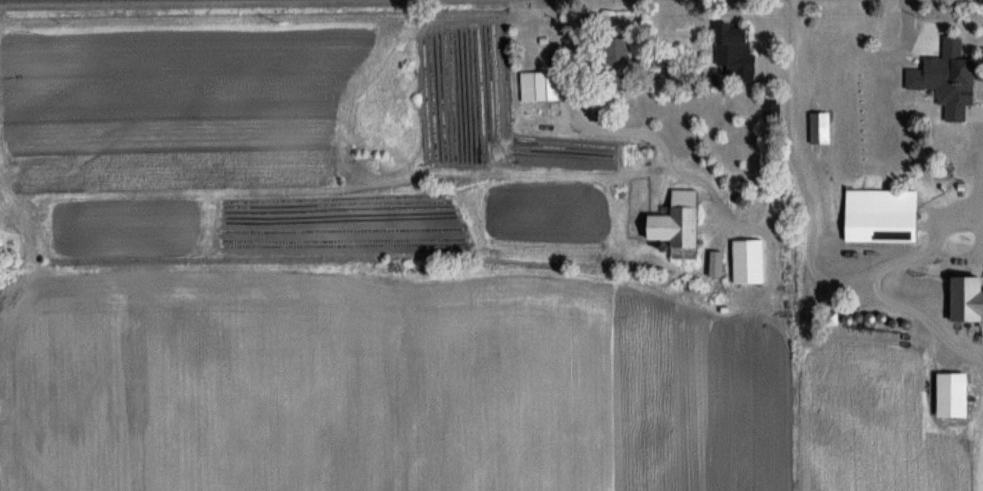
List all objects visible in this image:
building: (736, 49)
building: (620, 53)
building: (542, 87)
building: (964, 92)
road: (604, 128)
building: (822, 128)
building: (883, 217)
building: (680, 224)
road: (812, 244)
crop: (347, 275)
building: (970, 299)
crop: (891, 419)

